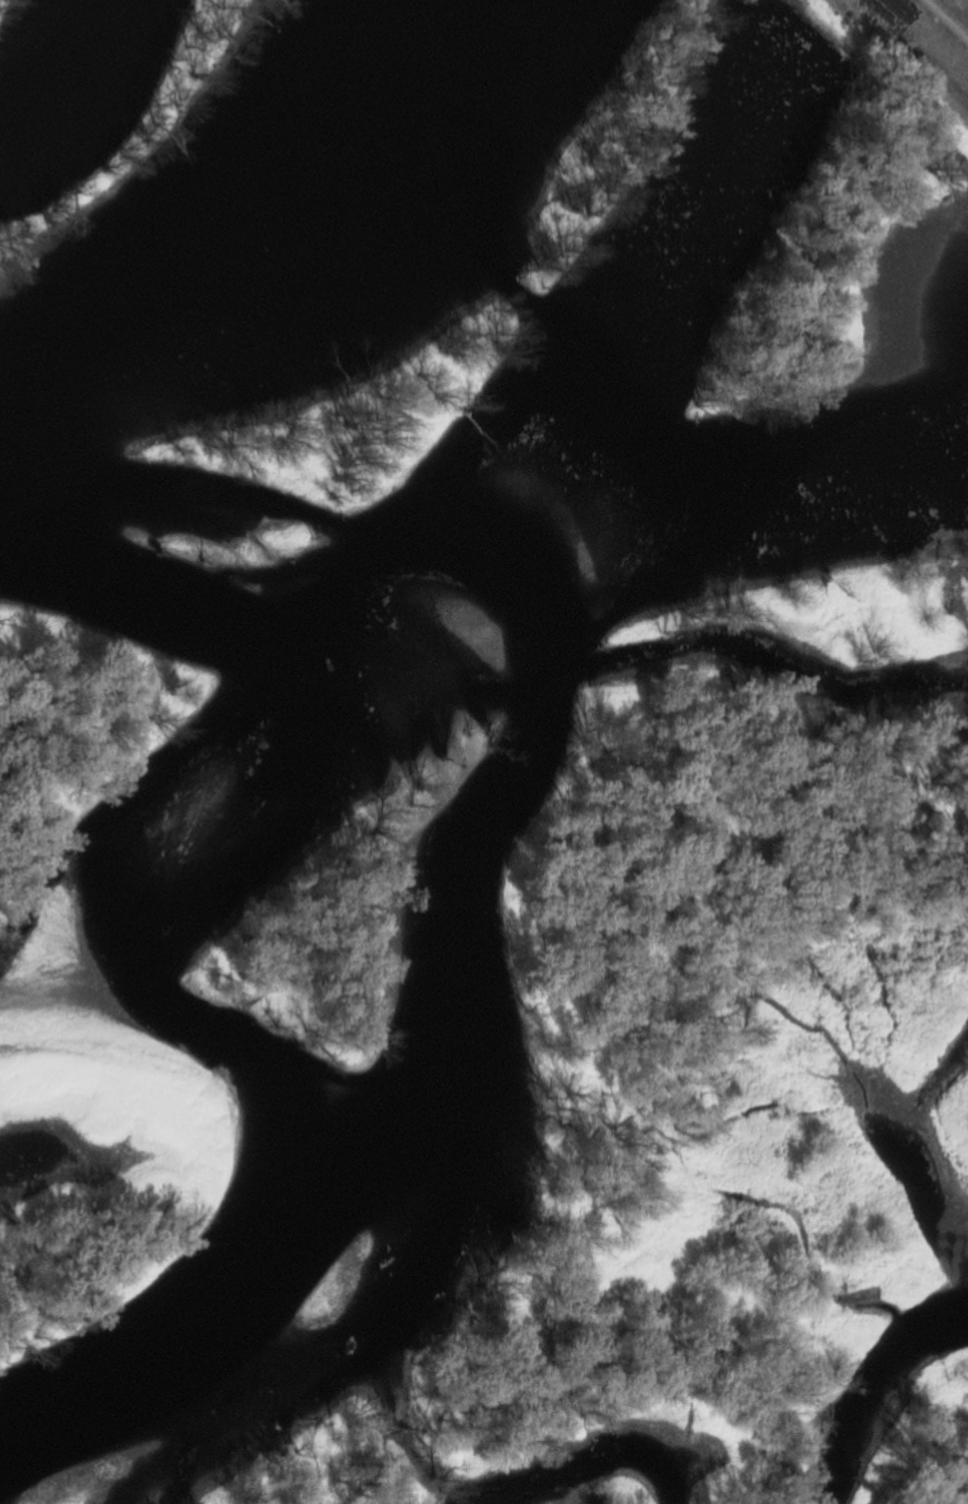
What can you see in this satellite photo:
dam: (937, 29)

